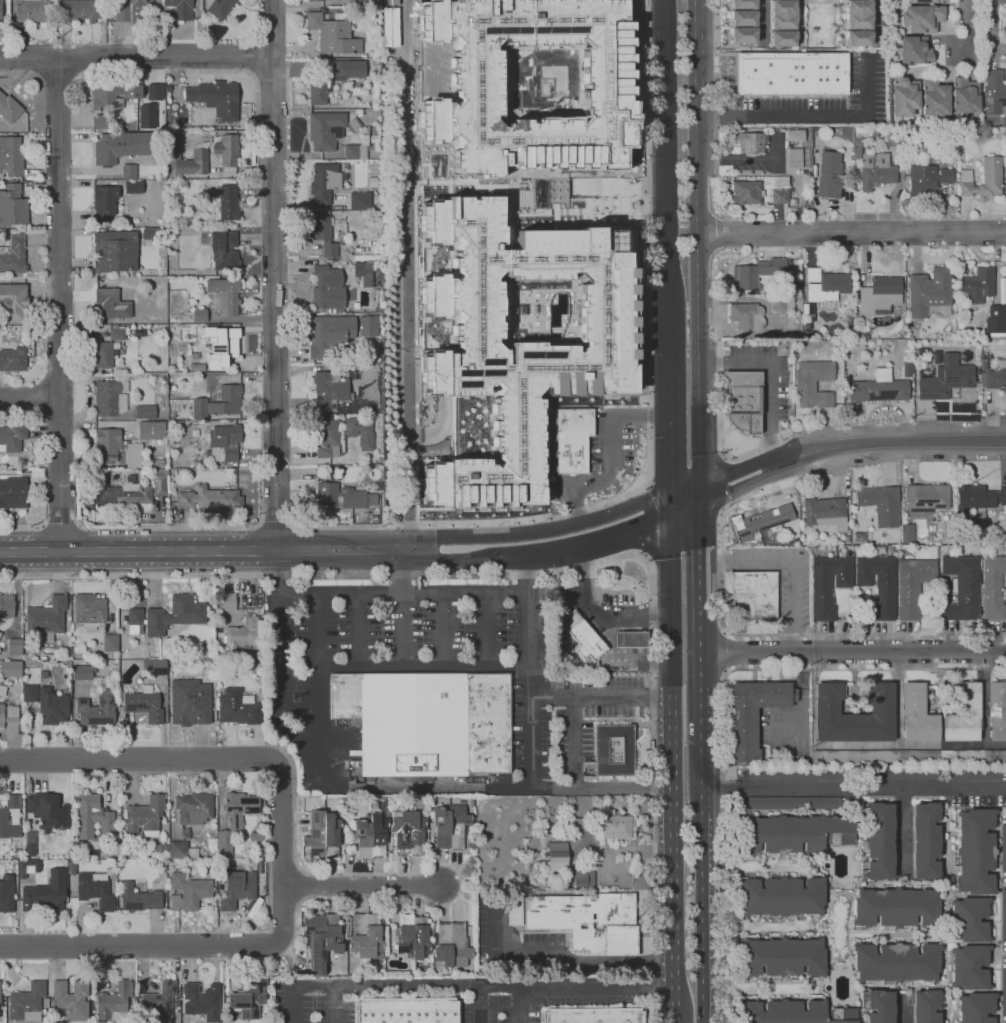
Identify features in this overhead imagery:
building: (315, 0)
building: (363, 1)
building: (925, 1)
building: (389, 2)
building: (219, 7)
building: (181, 8)
building: (0, 10)
building: (80, 10)
building: (130, 10)
building: (34, 11)
building: (921, 18)
building: (743, 22)
road: (762, 22)
road: (881, 22)
road: (965, 23)
building: (783, 24)
building: (858, 24)
building: (389, 27)
building: (333, 33)
road: (989, 33)
road: (698, 47)
building: (915, 49)
road: (136, 56)
road: (302, 67)
road: (191, 72)
building: (791, 74)
building: (334, 79)
road: (298, 89)
building: (475, 89)
building: (154, 91)
building: (994, 93)
road: (288, 95)
building: (964, 95)
building: (114, 96)
building: (904, 96)
building: (216, 98)
building: (934, 98)
building: (9, 108)
road: (715, 113)
road: (811, 115)
building: (146, 116)
building: (101, 123)
building: (328, 129)
building: (874, 133)
building: (794, 134)
building: (895, 139)
building: (750, 141)
building: (123, 146)
building: (357, 149)
building: (227, 150)
building: (857, 150)
road: (665, 154)
building: (11, 156)
road: (738, 157)
building: (793, 158)
building: (193, 162)
building: (344, 167)
building: (876, 170)
building: (128, 171)
building: (829, 175)
building: (927, 179)
building: (983, 179)
building: (783, 180)
building: (324, 182)
building: (345, 185)
building: (133, 187)
building: (747, 192)
building: (780, 197)
building: (360, 201)
road: (710, 201)
building: (792, 201)
building: (105, 202)
building: (229, 202)
building: (13, 206)
building: (376, 206)
road: (851, 232)
building: (147, 233)
building: (324, 235)
building: (115, 251)
building: (224, 251)
building: (13, 256)
building: (370, 274)
building: (760, 274)
road: (274, 276)
road: (406, 276)
building: (795, 284)
building: (978, 284)
building: (826, 285)
building: (328, 288)
building: (930, 291)
building: (224, 295)
road: (698, 295)
building: (880, 295)
building: (1003, 296)
road: (731, 300)
building: (13, 302)
building: (782, 303)
road: (59, 304)
building: (112, 304)
building: (805, 310)
building: (197, 316)
building: (747, 316)
building: (996, 322)
building: (368, 325)
building: (807, 326)
building: (117, 334)
building: (807, 334)
building: (866, 334)
building: (331, 337)
building: (516, 342)
building: (220, 344)
building: (889, 347)
building: (104, 354)
building: (197, 357)
building: (989, 357)
building: (13, 359)
road: (667, 362)
building: (984, 363)
building: (363, 366)
building: (919, 366)
building: (197, 367)
building: (907, 369)
road: (771, 377)
building: (995, 377)
building: (948, 379)
building: (814, 383)
building: (878, 388)
building: (328, 390)
building: (110, 397)
road: (720, 397)
road: (30, 399)
building: (743, 400)
building: (219, 403)
building: (145, 412)
road: (651, 420)
building: (151, 430)
building: (359, 431)
building: (12, 437)
building: (327, 439)
building: (572, 439)
building: (160, 442)
road: (880, 442)
building: (224, 443)
building: (107, 445)
road: (731, 447)
building: (134, 456)
building: (159, 463)
road: (668, 463)
building: (197, 464)
road: (611, 465)
road: (688, 472)
building: (37, 474)
road: (637, 482)
road: (723, 483)
road: (730, 483)
road: (773, 484)
building: (160, 485)
road: (645, 485)
building: (120, 492)
building: (13, 493)
building: (338, 497)
traffic signals: (702, 497)
building: (979, 497)
building: (927, 498)
building: (209, 499)
road: (685, 504)
building: (881, 504)
road: (724, 509)
traffic signals: (669, 512)
building: (825, 512)
road: (648, 520)
road: (60, 522)
road: (278, 522)
building: (760, 522)
road: (720, 524)
road: (167, 528)
road: (626, 528)
road: (702, 528)
road: (23, 529)
building: (908, 534)
building: (862, 536)
building: (847, 538)
road: (681, 539)
road: (541, 548)
building: (877, 550)
road: (139, 552)
road: (332, 552)
road: (442, 552)
road: (605, 564)
road: (641, 564)
road: (792, 565)
road: (402, 573)
road: (543, 576)
road: (635, 577)
building: (828, 584)
building: (878, 584)
building: (913, 585)
road: (703, 587)
building: (993, 587)
building: (962, 588)
road: (402, 593)
building: (756, 593)
building: (226, 602)
building: (6, 606)
building: (89, 610)
building: (175, 615)
road: (604, 615)
building: (46, 619)
building: (135, 621)
building: (144, 622)
road: (402, 630)
road: (444, 630)
road: (486, 630)
road: (359, 631)
building: (244, 632)
building: (0, 634)
road: (778, 634)
building: (583, 637)
building: (631, 639)
building: (110, 643)
building: (15, 647)
road: (855, 651)
road: (722, 652)
building: (154, 666)
road: (422, 668)
building: (10, 669)
road: (529, 670)
building: (83, 672)
road: (316, 678)
road: (704, 678)
building: (2, 691)
building: (30, 693)
road: (601, 696)
building: (190, 702)
building: (144, 704)
building: (52, 707)
building: (239, 707)
road: (725, 708)
building: (97, 710)
building: (996, 711)
building: (8, 714)
building: (753, 714)
building: (854, 714)
building: (917, 714)
building: (964, 714)
building: (427, 722)
road: (575, 742)
building: (613, 751)
building: (908, 755)
road: (200, 757)
road: (672, 766)
building: (794, 774)
building: (902, 774)
building: (972, 774)
road: (379, 785)
road: (855, 787)
building: (794, 803)
building: (375, 804)
building: (194, 808)
building: (239, 808)
building: (48, 812)
building: (91, 816)
building: (10, 817)
building: (145, 817)
building: (572, 823)
building: (450, 825)
building: (613, 827)
road: (902, 827)
building: (409, 833)
building: (796, 833)
building: (185, 834)
building: (322, 834)
building: (371, 835)
building: (31, 837)
building: (255, 837)
building: (925, 841)
building: (879, 842)
building: (224, 843)
building: (165, 847)
building: (1004, 847)
building: (30, 849)
building: (156, 849)
building: (178, 849)
building: (975, 851)
building: (14, 853)
building: (193, 853)
building: (554, 858)
road: (269, 860)
building: (645, 863)
building: (72, 867)
building: (260, 867)
building: (22, 868)
building: (161, 874)
road: (318, 874)
building: (582, 879)
road: (704, 883)
road: (361, 885)
building: (237, 889)
building: (95, 890)
building: (188, 892)
building: (6, 894)
building: (44, 894)
building: (782, 896)
building: (138, 899)
building: (896, 907)
road: (282, 914)
building: (1003, 916)
building: (970, 919)
building: (588, 921)
building: (321, 935)
building: (366, 935)
building: (411, 937)
building: (452, 945)
road: (139, 947)
road: (560, 956)
building: (783, 957)
building: (896, 962)
building: (969, 967)
building: (287, 974)
road: (410, 985)
road: (295, 986)
road: (599, 989)
building: (1004, 991)
building: (0, 992)
building: (247, 998)
building: (71, 1000)
building: (161, 1000)
parking lot: (314, 1000)
building: (202, 1001)
building: (114, 1002)
building: (27, 1003)
road: (480, 1003)
building: (175, 1004)
road: (521, 1006)
building: (880, 1006)
building: (926, 1006)
building: (976, 1007)
building: (407, 1010)
parking lot: (500, 1011)
road: (902, 1011)
building: (795, 1012)
building: (593, 1015)
building: (100, 1022)
road: (677, 1022)

